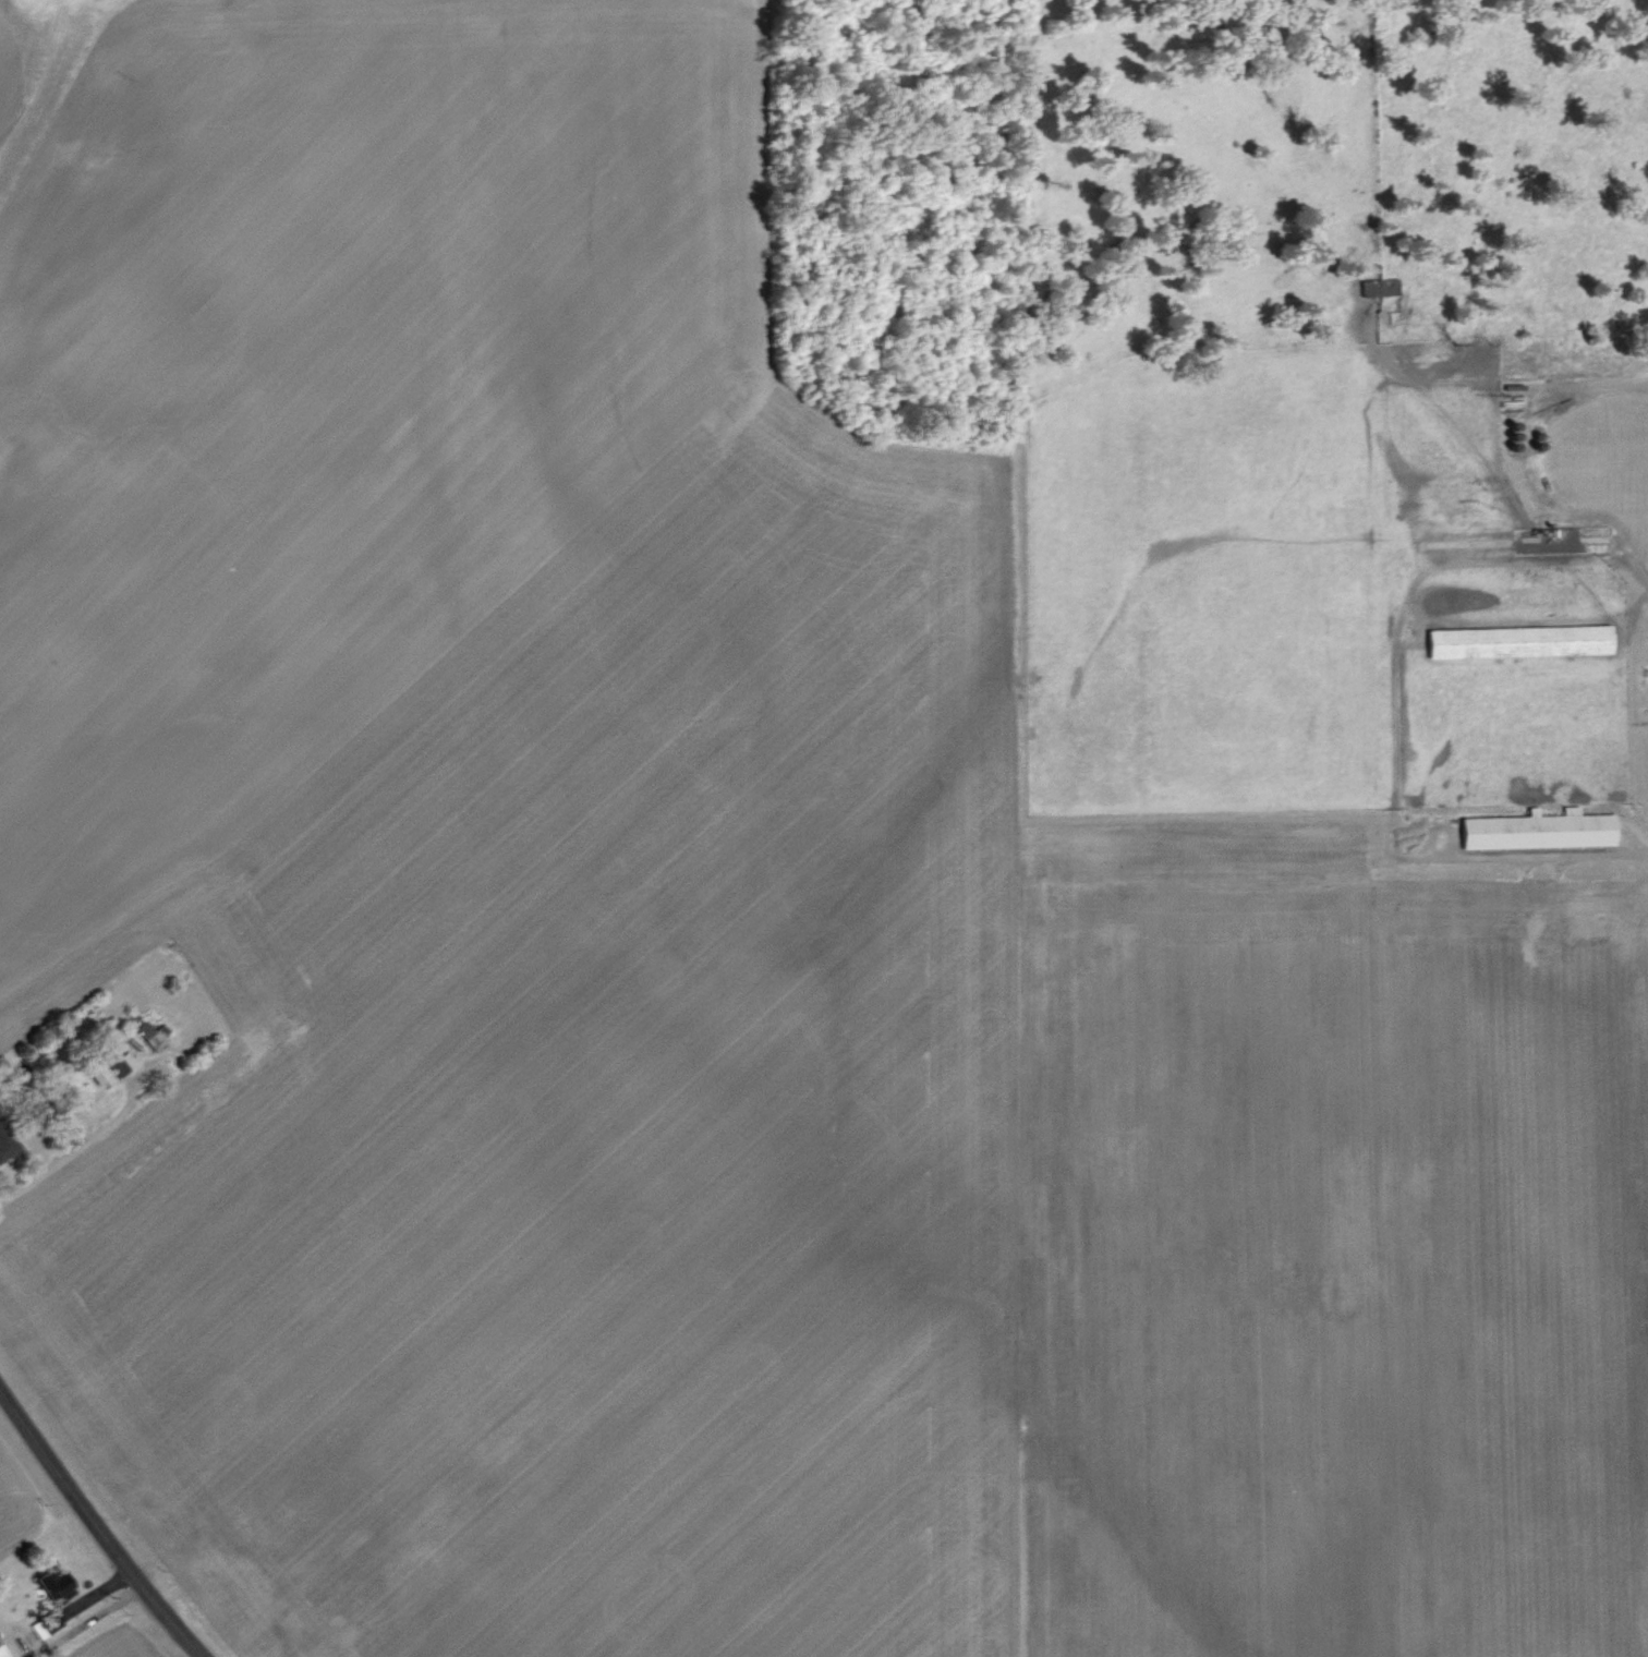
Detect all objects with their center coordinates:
building: (1380, 285)
building: (1520, 639)
building: (1540, 827)
building: (150, 1033)
building: (125, 1059)
building: (100, 1074)
building: (4, 1145)
road: (0, 1149)
road: (95, 1526)
building: (53, 1581)
building: (66, 1608)
building: (47, 1625)
building: (3, 1650)

